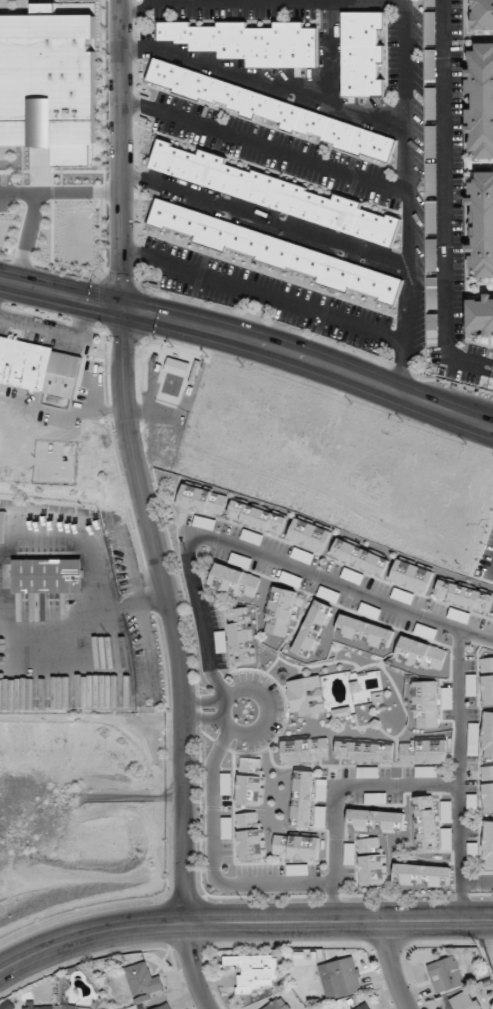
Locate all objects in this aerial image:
road: (262, 2)
building: (430, 3)
building: (482, 15)
building: (9, 24)
building: (430, 28)
building: (249, 42)
road: (333, 53)
building: (362, 54)
building: (431, 65)
road: (263, 82)
building: (481, 100)
building: (431, 103)
building: (271, 111)
building: (431, 141)
road: (264, 145)
building: (431, 179)
road: (445, 189)
building: (270, 191)
road: (406, 196)
building: (432, 216)
road: (265, 218)
building: (482, 223)
building: (277, 251)
building: (432, 254)
building: (432, 293)
road: (264, 296)
traffic signals: (125, 309)
building: (481, 314)
road: (56, 329)
building: (432, 329)
road: (233, 335)
road: (476, 365)
building: (39, 367)
park: (167, 396)
road: (63, 405)
road: (476, 417)
road: (476, 423)
road: (136, 463)
building: (202, 500)
building: (256, 517)
building: (309, 535)
road: (263, 556)
building: (359, 557)
building: (49, 576)
building: (411, 576)
building: (235, 581)
road: (99, 587)
building: (464, 595)
road: (139, 604)
building: (279, 611)
building: (313, 629)
building: (365, 631)
building: (242, 636)
building: (422, 654)
building: (487, 681)
building: (307, 696)
road: (203, 701)
building: (425, 704)
road: (222, 719)
road: (203, 720)
building: (488, 735)
building: (306, 750)
building: (365, 751)
building: (424, 751)
building: (368, 772)
road: (458, 775)
building: (251, 781)
building: (488, 787)
road: (335, 792)
building: (303, 798)
building: (472, 804)
building: (447, 811)
building: (321, 816)
building: (376, 821)
building: (426, 824)
building: (227, 828)
building: (251, 835)
building: (447, 838)
building: (488, 844)
building: (296, 847)
road: (213, 861)
building: (372, 861)
building: (297, 870)
building: (422, 875)
road: (476, 880)
road: (242, 922)
road: (391, 966)
road: (193, 967)
building: (254, 971)
building: (446, 975)
building: (341, 978)
building: (143, 980)
building: (466, 1000)
building: (278, 1004)
building: (39, 1006)
building: (70, 1006)
building: (368, 1006)
building: (165, 1007)

